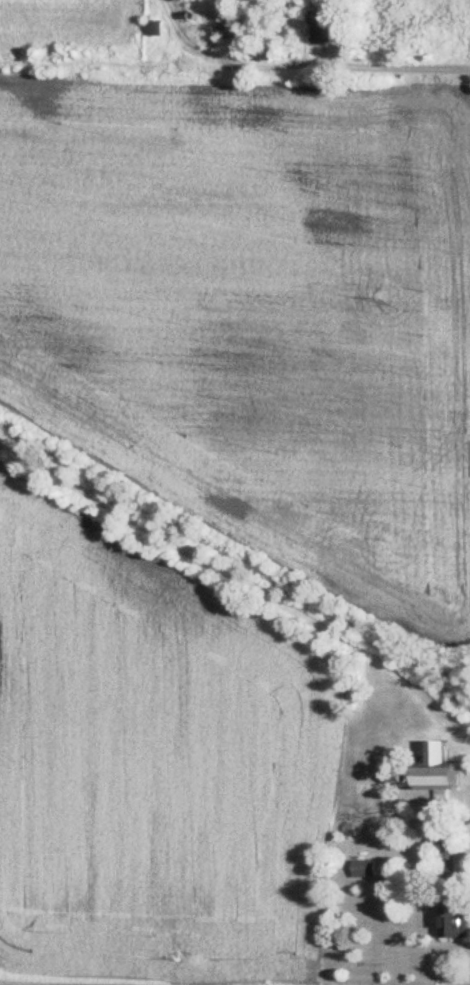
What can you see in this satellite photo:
building: (156, 27)
building: (234, 30)
building: (264, 53)
building: (436, 770)
road: (450, 847)
building: (365, 868)
building: (455, 923)

